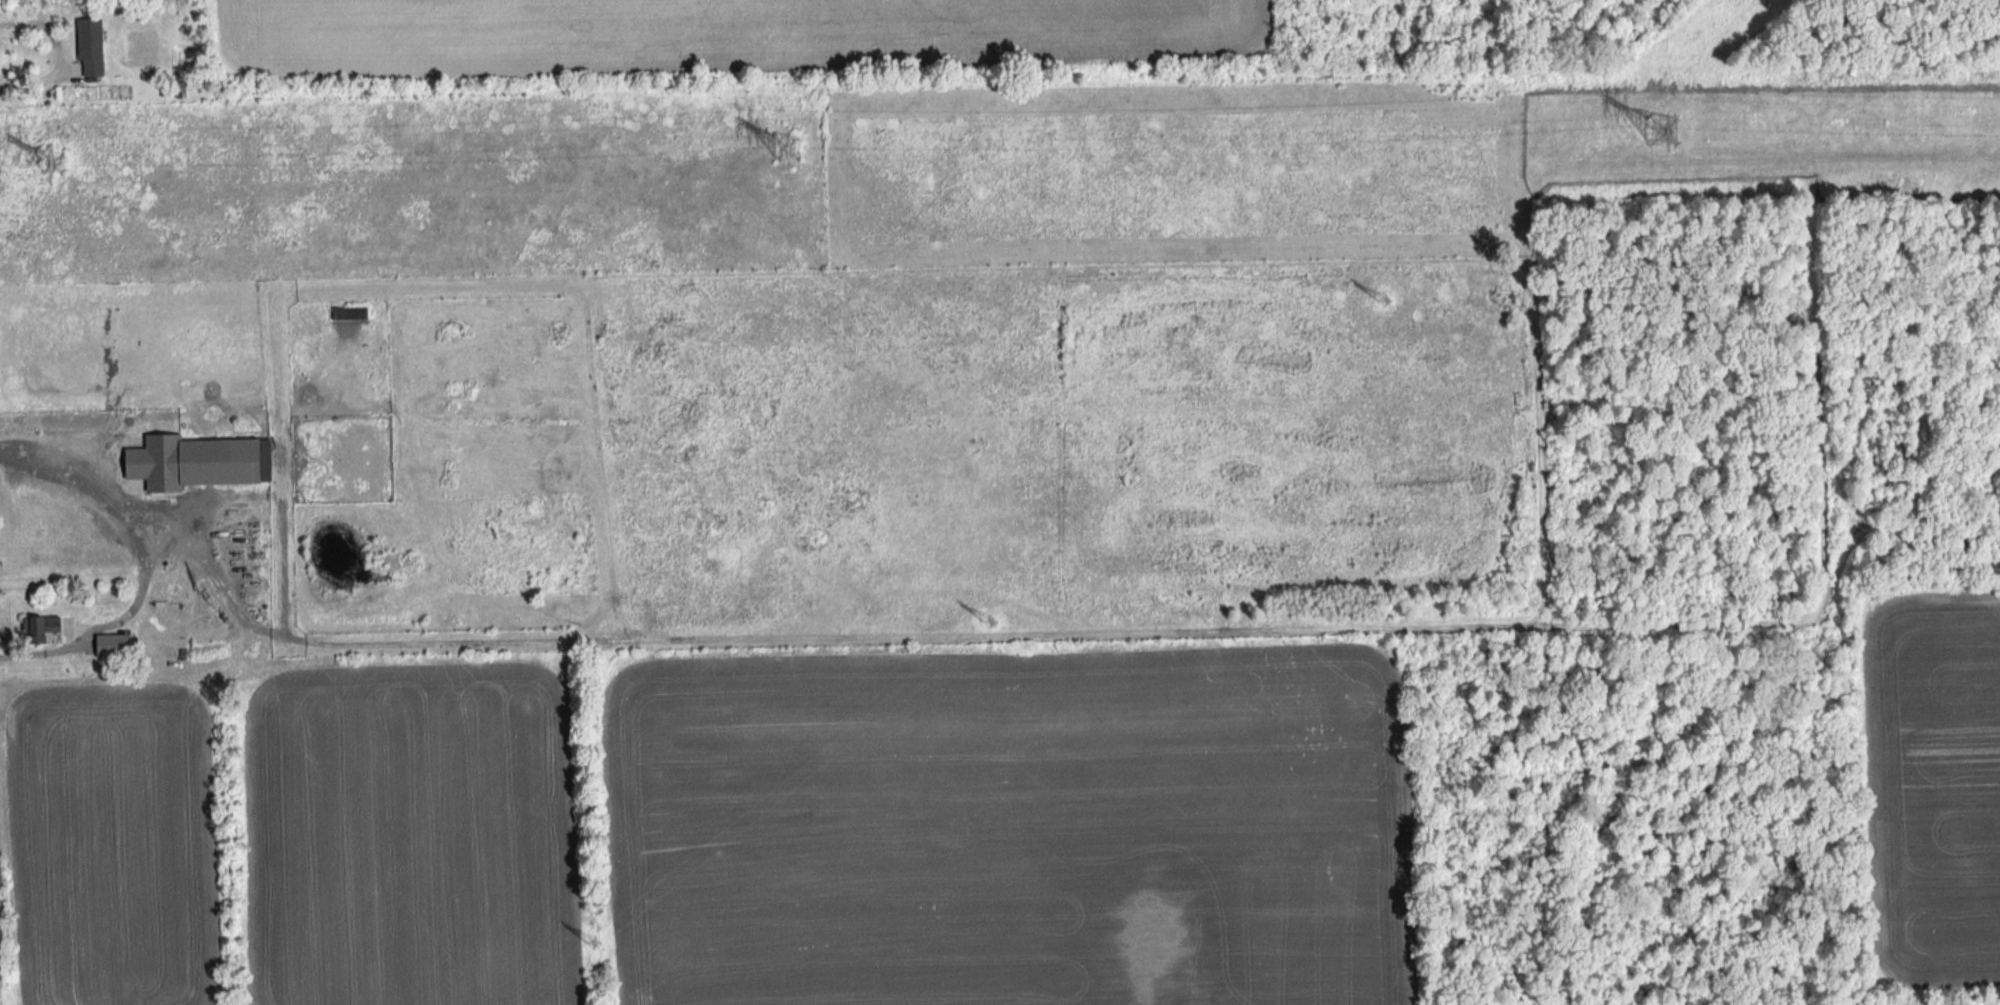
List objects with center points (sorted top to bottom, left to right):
crop: (725, 30)
building: (95, 66)
road: (34, 82)
power tower: (1658, 138)
power tower: (793, 156)
power tower: (60, 168)
power tower: (1382, 306)
building: (356, 312)
crop: (953, 439)
building: (202, 461)
road: (143, 566)
building: (171, 615)
power tower: (991, 623)
crop: (1934, 789)
crop: (1008, 828)
crop: (411, 836)
crop: (114, 844)
power tower: (601, 942)

